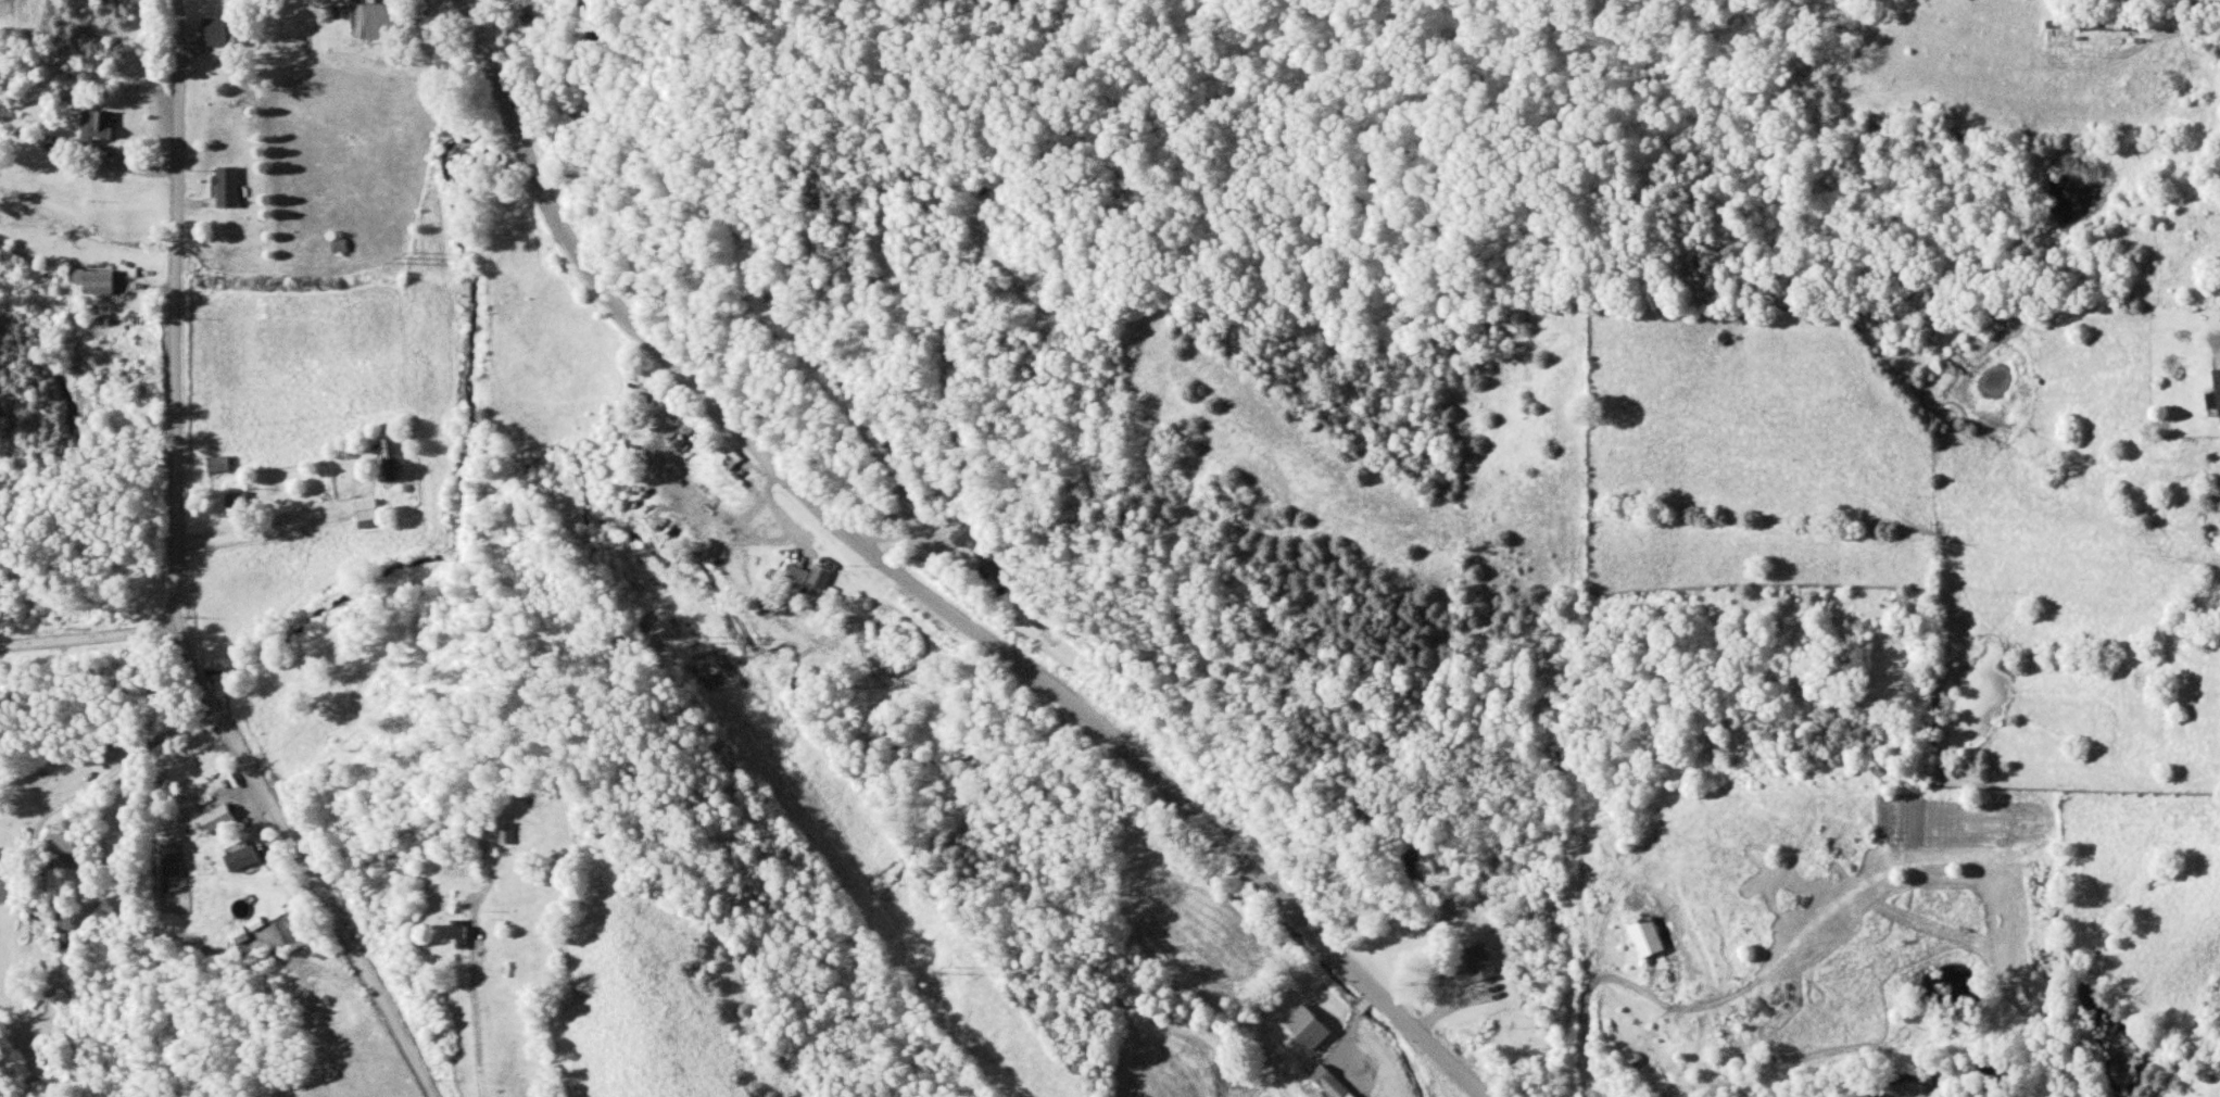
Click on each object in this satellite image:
power tower: (401, 260)
road: (178, 300)
road: (919, 590)
road: (182, 629)
road: (172, 635)
road: (98, 639)
power tower: (693, 645)
road: (202, 676)
road: (106, 781)
road: (325, 895)
power tower: (937, 979)

